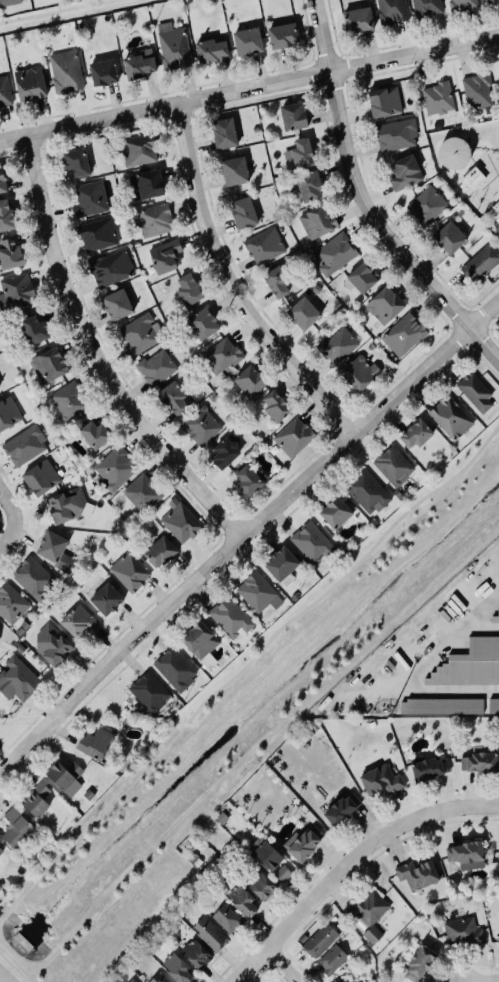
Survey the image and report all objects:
building: (490, 1)
building: (8, 2)
building: (462, 5)
building: (426, 7)
building: (390, 10)
road: (51, 11)
park: (62, 12)
building: (358, 20)
road: (331, 27)
road: (306, 29)
park: (302, 31)
building: (281, 34)
building: (245, 40)
building: (171, 45)
building: (208, 49)
road: (339, 55)
road: (312, 59)
road: (306, 61)
building: (139, 64)
building: (64, 70)
building: (103, 72)
building: (30, 83)
road: (249, 88)
building: (475, 90)
building: (4, 91)
building: (437, 98)
building: (384, 101)
building: (293, 116)
building: (222, 132)
building: (395, 134)
building: (137, 150)
building: (300, 152)
building: (453, 153)
building: (76, 161)
building: (234, 171)
building: (404, 173)
building: (471, 180)
building: (2, 181)
building: (148, 182)
building: (305, 184)
building: (88, 198)
road: (363, 202)
building: (427, 205)
building: (243, 212)
building: (6, 216)
road: (492, 217)
building: (153, 218)
building: (317, 222)
building: (97, 234)
building: (449, 237)
building: (264, 245)
building: (9, 253)
building: (334, 253)
building: (163, 255)
building: (479, 261)
building: (111, 268)
building: (362, 277)
building: (275, 280)
road: (230, 285)
building: (188, 289)
building: (115, 303)
building: (384, 305)
building: (303, 313)
building: (202, 323)
building: (34, 329)
building: (402, 333)
building: (138, 334)
building: (336, 344)
road: (94, 354)
building: (221, 355)
building: (48, 365)
building: (156, 367)
building: (359, 373)
building: (249, 381)
building: (475, 393)
building: (173, 398)
building: (67, 400)
building: (275, 405)
building: (7, 412)
building: (450, 417)
building: (199, 424)
building: (414, 433)
building: (94, 434)
building: (292, 436)
building: (22, 444)
building: (223, 452)
building: (393, 465)
building: (114, 469)
building: (39, 477)
building: (246, 479)
building: (366, 491)
building: (142, 493)
building: (68, 505)
road: (9, 508)
building: (334, 511)
building: (180, 521)
road: (245, 530)
road: (7, 535)
building: (311, 542)
building: (55, 551)
building: (159, 551)
building: (280, 564)
road: (496, 567)
building: (127, 570)
road: (345, 574)
building: (31, 577)
building: (256, 591)
building: (104, 598)
building: (11, 603)
building: (494, 615)
building: (230, 618)
building: (78, 620)
road: (463, 628)
road: (424, 630)
building: (1, 636)
building: (197, 639)
building: (52, 644)
building: (469, 662)
building: (175, 668)
building: (17, 679)
road: (428, 691)
building: (149, 692)
building: (492, 704)
building: (438, 705)
building: (93, 743)
building: (478, 761)
building: (429, 768)
building: (64, 776)
building: (379, 779)
building: (36, 800)
building: (339, 809)
building: (15, 827)
building: (301, 841)
building: (498, 846)
building: (0, 850)
building: (265, 851)
building: (467, 855)
road: (351, 863)
building: (281, 872)
building: (415, 873)
building: (250, 893)
building: (369, 912)
building: (226, 918)
building: (461, 932)
building: (208, 933)
building: (498, 938)
building: (320, 940)
building: (195, 953)
building: (331, 959)
building: (417, 961)
road: (282, 966)
building: (176, 968)
road: (3, 978)
building: (159, 978)
road: (245, 979)
building: (131, 980)
building: (354, 981)
road: (498, 981)

